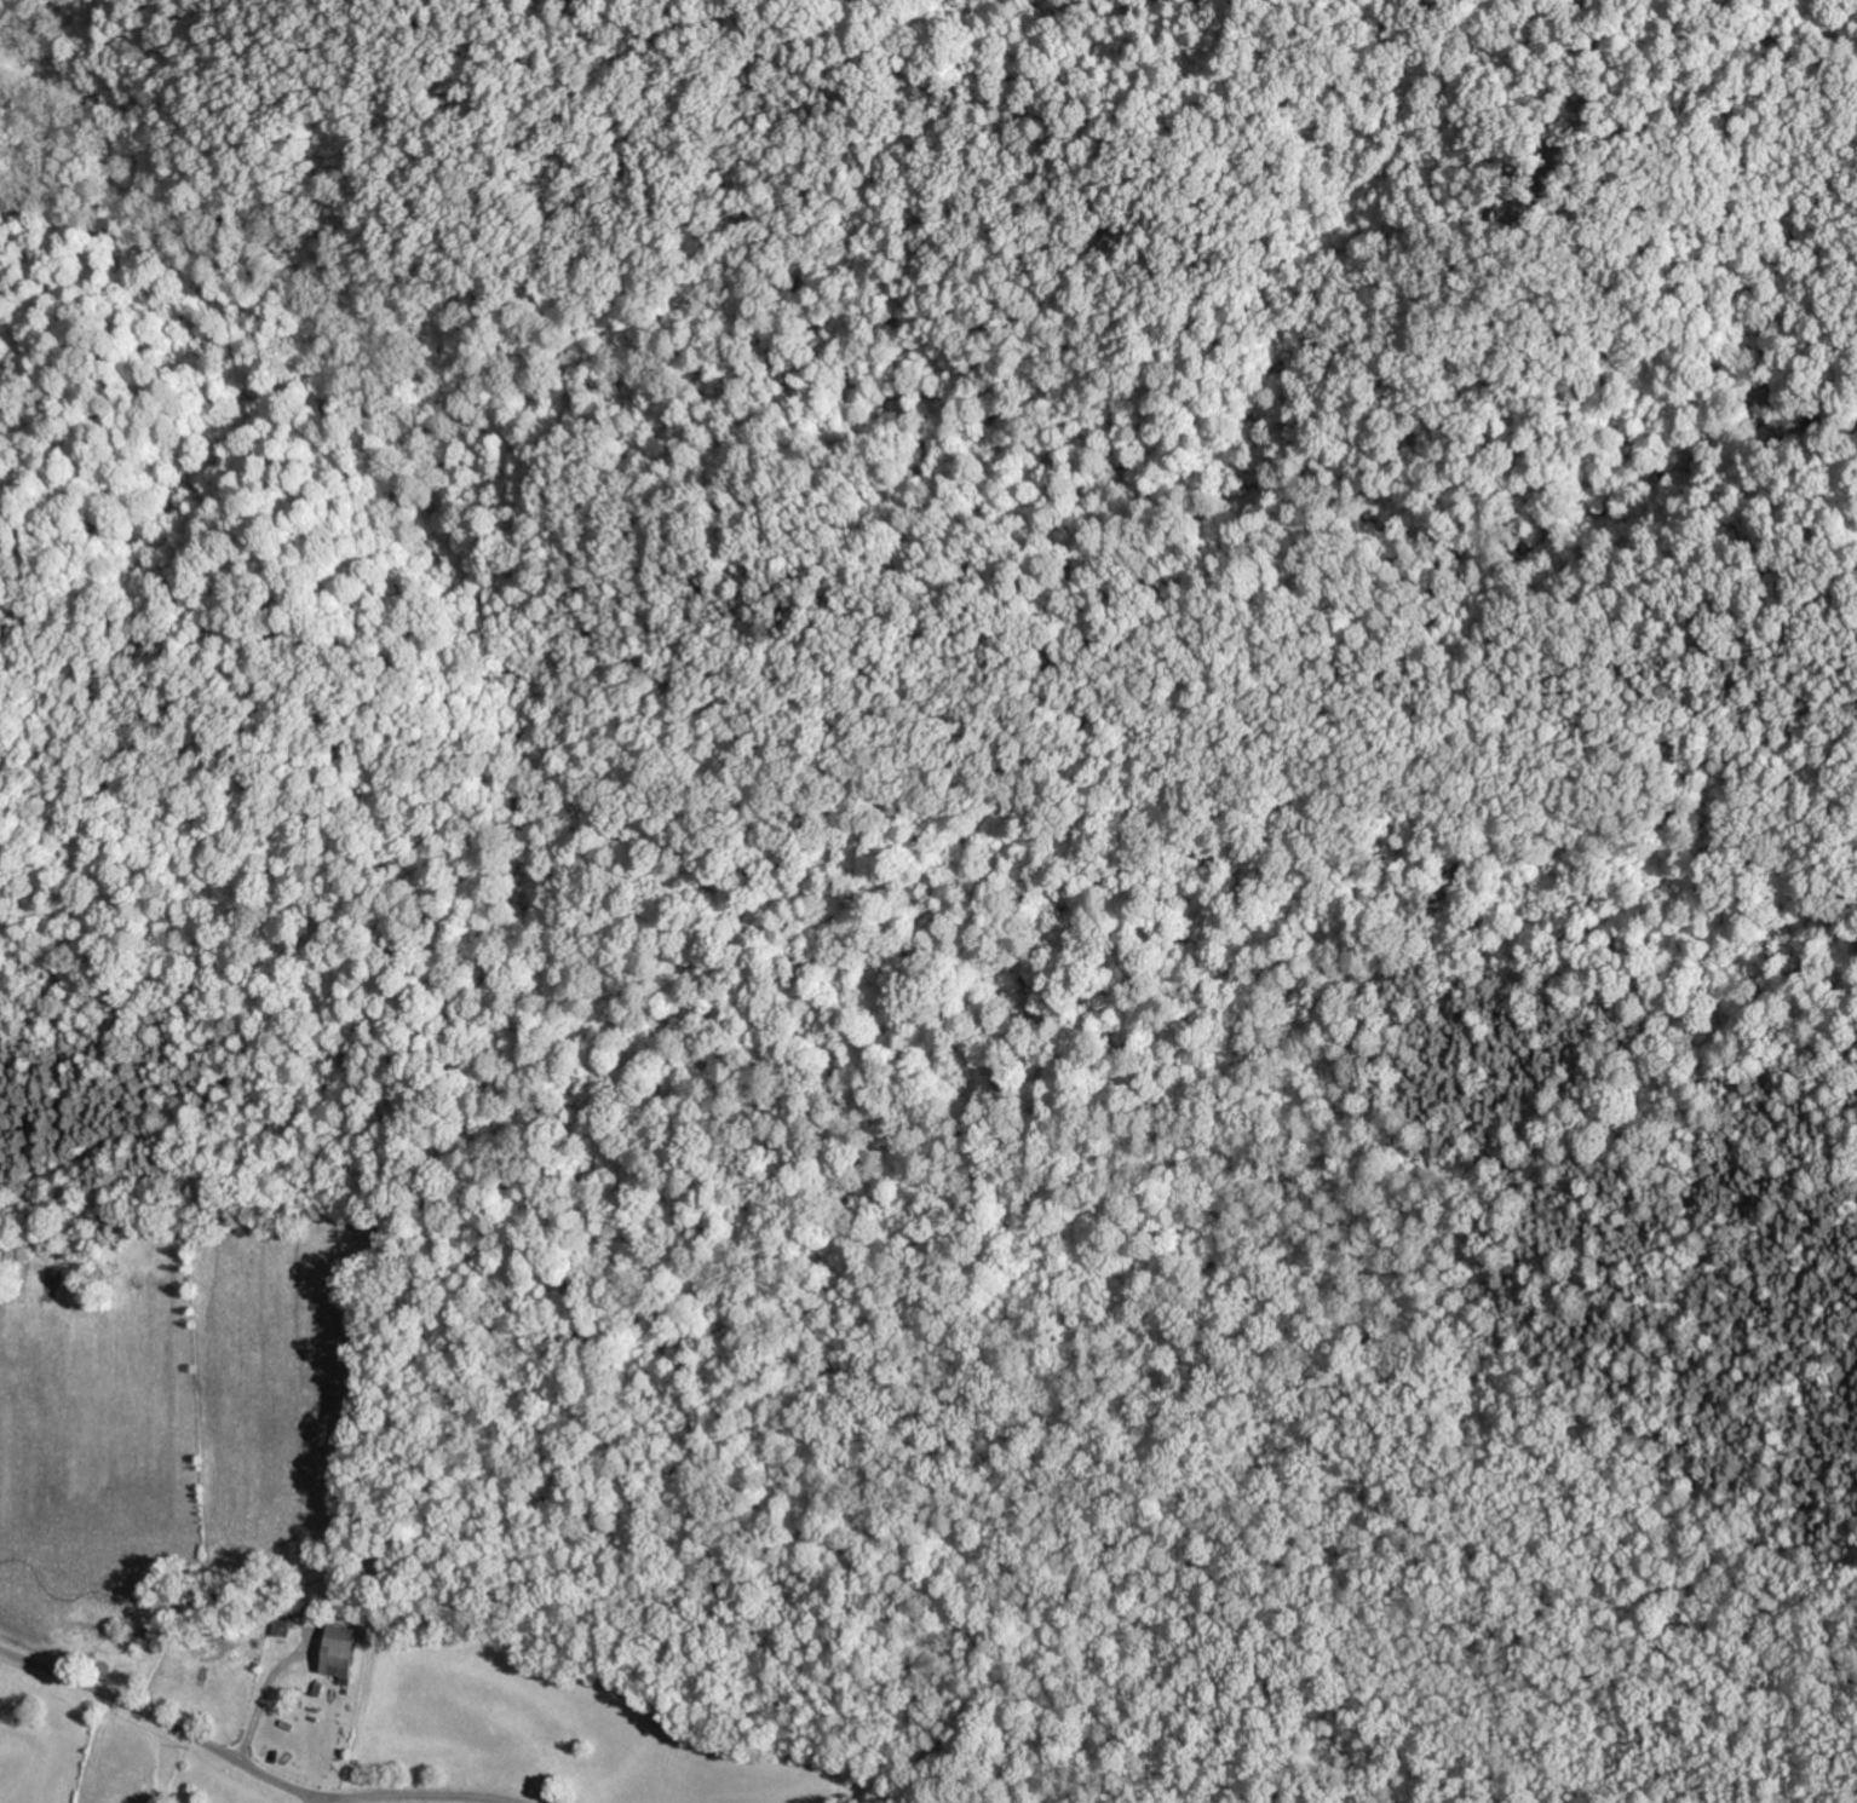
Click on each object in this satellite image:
building: (337, 1651)
road: (247, 1764)

